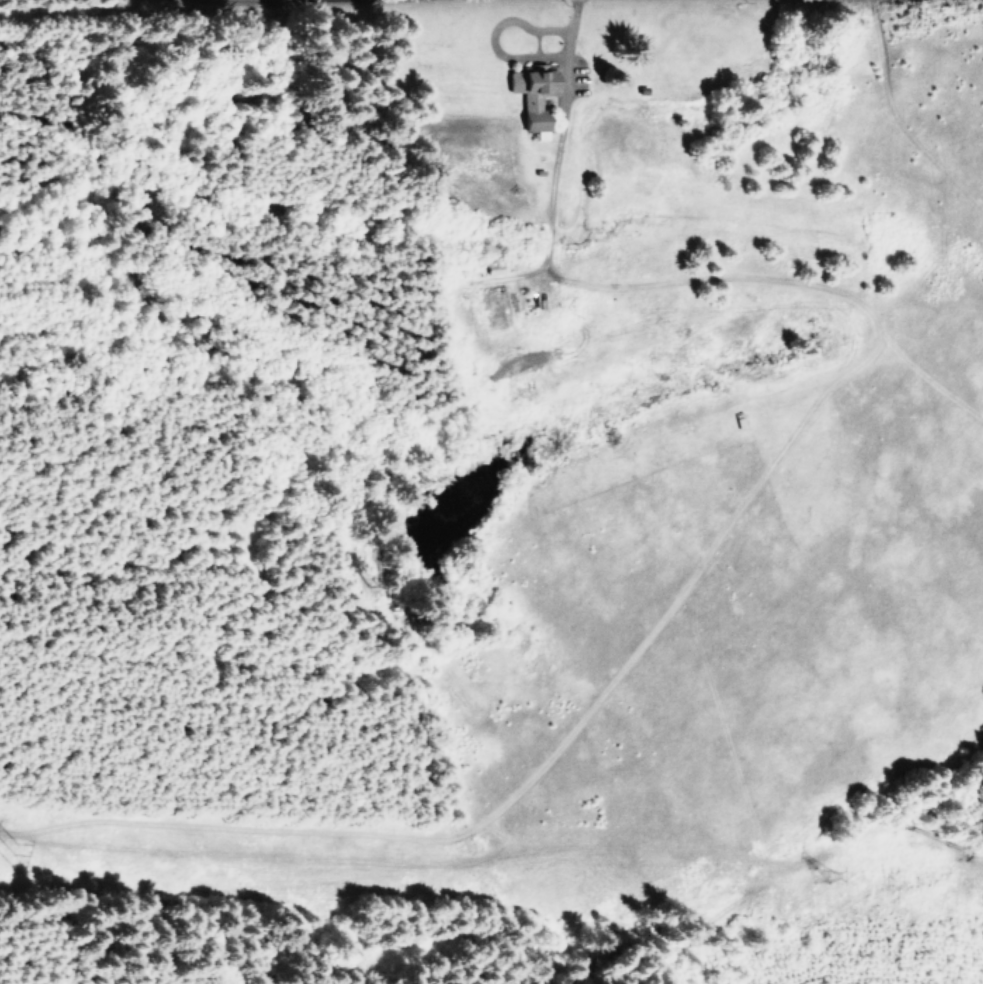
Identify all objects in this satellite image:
road: (556, 140)
building: (491, 268)
power tower: (11, 850)
power tower: (811, 868)

